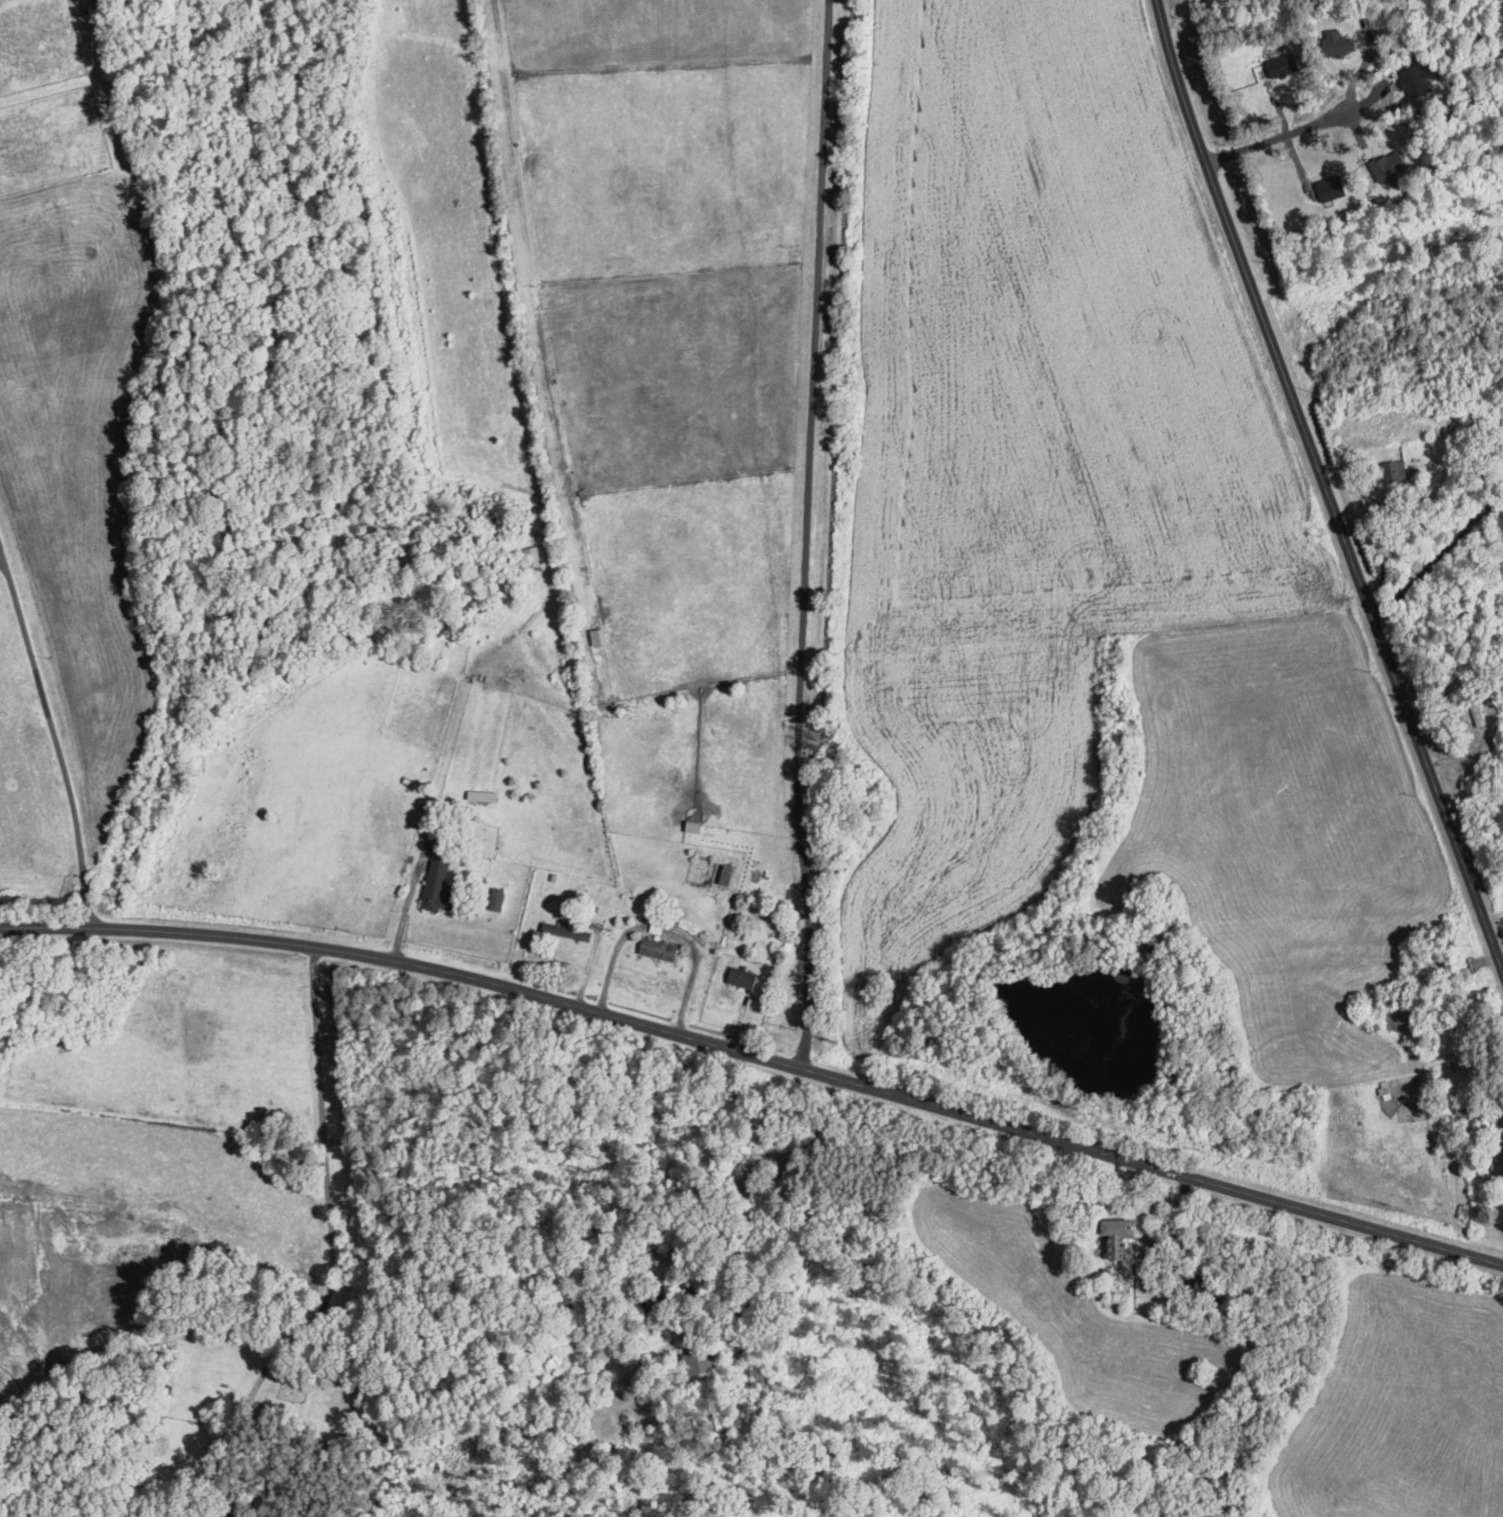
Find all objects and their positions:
building: (1285, 64)
building: (1415, 78)
road: (1278, 137)
building: (1394, 166)
building: (1333, 187)
building: (1398, 467)
road: (1325, 485)
road: (807, 534)
road: (1438, 556)
road: (55, 736)
building: (438, 882)
building: (499, 897)
road: (402, 906)
road: (658, 926)
building: (661, 947)
road: (613, 958)
road: (694, 973)
building: (744, 976)
road: (758, 1056)
building: (1122, 1233)
road: (330, 1252)
road: (1177, 1252)
building: (698, 1361)

